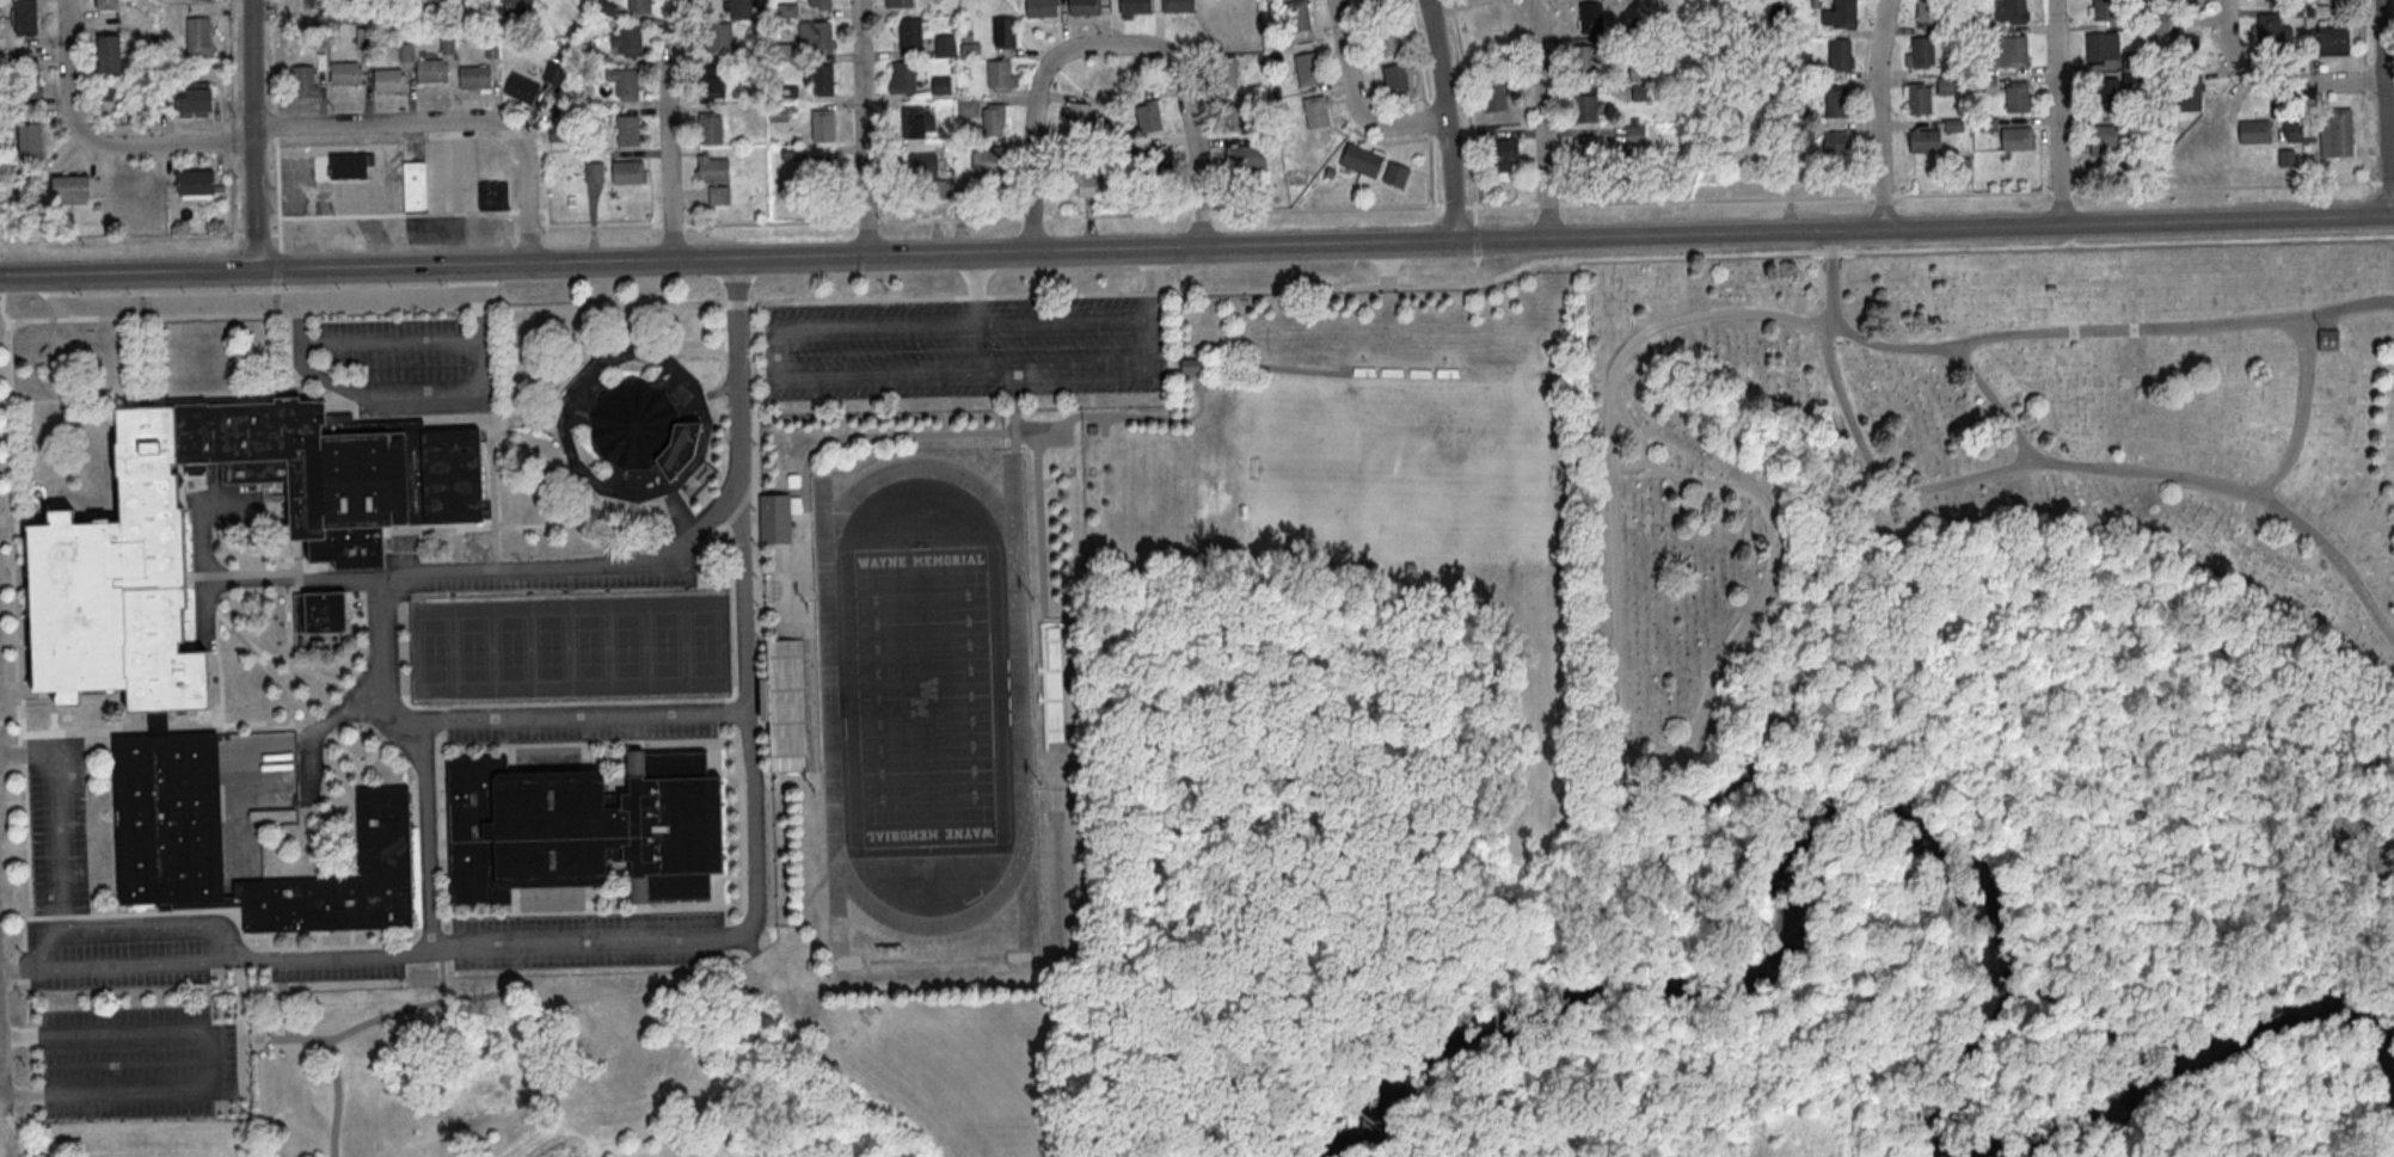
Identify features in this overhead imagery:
building: (441, 0)
building: (1371, 1)
road: (1441, 2)
building: (2185, 2)
building: (901, 4)
building: (108, 5)
building: (518, 5)
building: (820, 5)
building: (1178, 6)
building: (640, 7)
building: (739, 7)
building: (1084, 7)
building: (1135, 7)
building: (1041, 8)
building: (2105, 11)
building: (2011, 12)
building: (1928, 13)
building: (1297, 14)
building: (1846, 14)
building: (26, 17)
building: (1590, 17)
building: (2157, 20)
building: (1221, 25)
building: (2270, 31)
building: (1005, 33)
building: (911, 35)
building: (1486, 35)
building: (198, 36)
building: (816, 37)
building: (720, 39)
building: (1389, 39)
building: (2331, 39)
building: (447, 43)
building: (631, 43)
road: (1118, 44)
building: (944, 45)
building: (970, 47)
building: (2098, 50)
building: (109, 53)
building: (2011, 53)
building: (2189, 53)
building: (1923, 54)
road: (272, 56)
building: (1841, 56)
building: (1589, 59)
road: (231, 63)
building: (1307, 68)
building: (431, 69)
building: (1640, 70)
building: (346, 72)
building: (553, 72)
building: (1227, 72)
building: (1000, 75)
building: (475, 76)
building: (1395, 78)
building: (388, 79)
building: (904, 79)
building: (29, 80)
building: (305, 80)
building: (713, 80)
building: (821, 81)
building: (940, 84)
building: (1946, 84)
road: (2275, 84)
building: (627, 86)
building: (521, 87)
building: (1641, 91)
building: (1494, 94)
building: (2107, 96)
building: (2187, 97)
building: (2017, 98)
building: (1836, 99)
building: (1920, 99)
road: (1353, 100)
building: (195, 101)
building: (1585, 106)
building: (966, 107)
road: (2384, 109)
building: (1316, 111)
building: (778, 112)
road: (2058, 112)
building: (1078, 115)
building: (1149, 115)
building: (1236, 115)
road: (1879, 115)
road: (1542, 117)
road: (449, 121)
building: (994, 121)
road: (1445, 121)
road: (276, 123)
building: (914, 123)
building: (1952, 124)
building: (710, 127)
building: (824, 127)
road: (863, 128)
road: (670, 129)
building: (628, 131)
building: (2300, 131)
building: (2337, 131)
building: (2255, 133)
road: (251, 135)
building: (1635, 135)
building: (2105, 137)
building: (1923, 139)
building: (2017, 140)
road: (232, 141)
building: (1837, 141)
building: (31, 142)
road: (96, 142)
building: (1589, 146)
building: (1247, 155)
building: (2286, 156)
building: (1158, 158)
building: (1361, 158)
building: (1505, 158)
building: (992, 160)
building: (916, 165)
building: (627, 168)
building: (348, 170)
building: (595, 171)
building: (1395, 173)
building: (716, 176)
building: (822, 178)
building: (1084, 180)
road: (2386, 180)
building: (197, 184)
building: (415, 184)
building: (70, 187)
road: (233, 193)
building: (492, 195)
road: (277, 203)
road: (1320, 208)
road: (1946, 228)
road: (140, 240)
road: (749, 259)
road: (1830, 277)
road: (475, 283)
road: (1154, 287)
road: (975, 289)
road: (252, 302)
road: (1062, 321)
road: (2110, 330)
building: (2325, 339)
road: (1158, 343)
parking lot: (965, 349)
building: (1193, 364)
road: (841, 371)
road: (409, 398)
road: (1995, 399)
road: (2298, 413)
building: (650, 429)
park: (1963, 447)
road: (1628, 463)
road: (2081, 464)
building: (775, 517)
road: (299, 580)
road: (395, 581)
building: (320, 610)
park: (569, 650)
building: (119, 669)
building: (1054, 684)
park: (923, 695)
track: (923, 695)
road: (1616, 703)
road: (577, 715)
road: (56, 812)
building: (582, 824)
river: (1964, 863)
park: (1972, 888)
road: (131, 922)
road: (232, 929)
road: (710, 936)
road: (39, 941)
road: (20, 1035)
road: (211, 1059)
parking lot: (135, 1063)
road: (22, 1090)
road: (1795, 1116)
road: (1545, 1138)
river: (2390, 1152)

